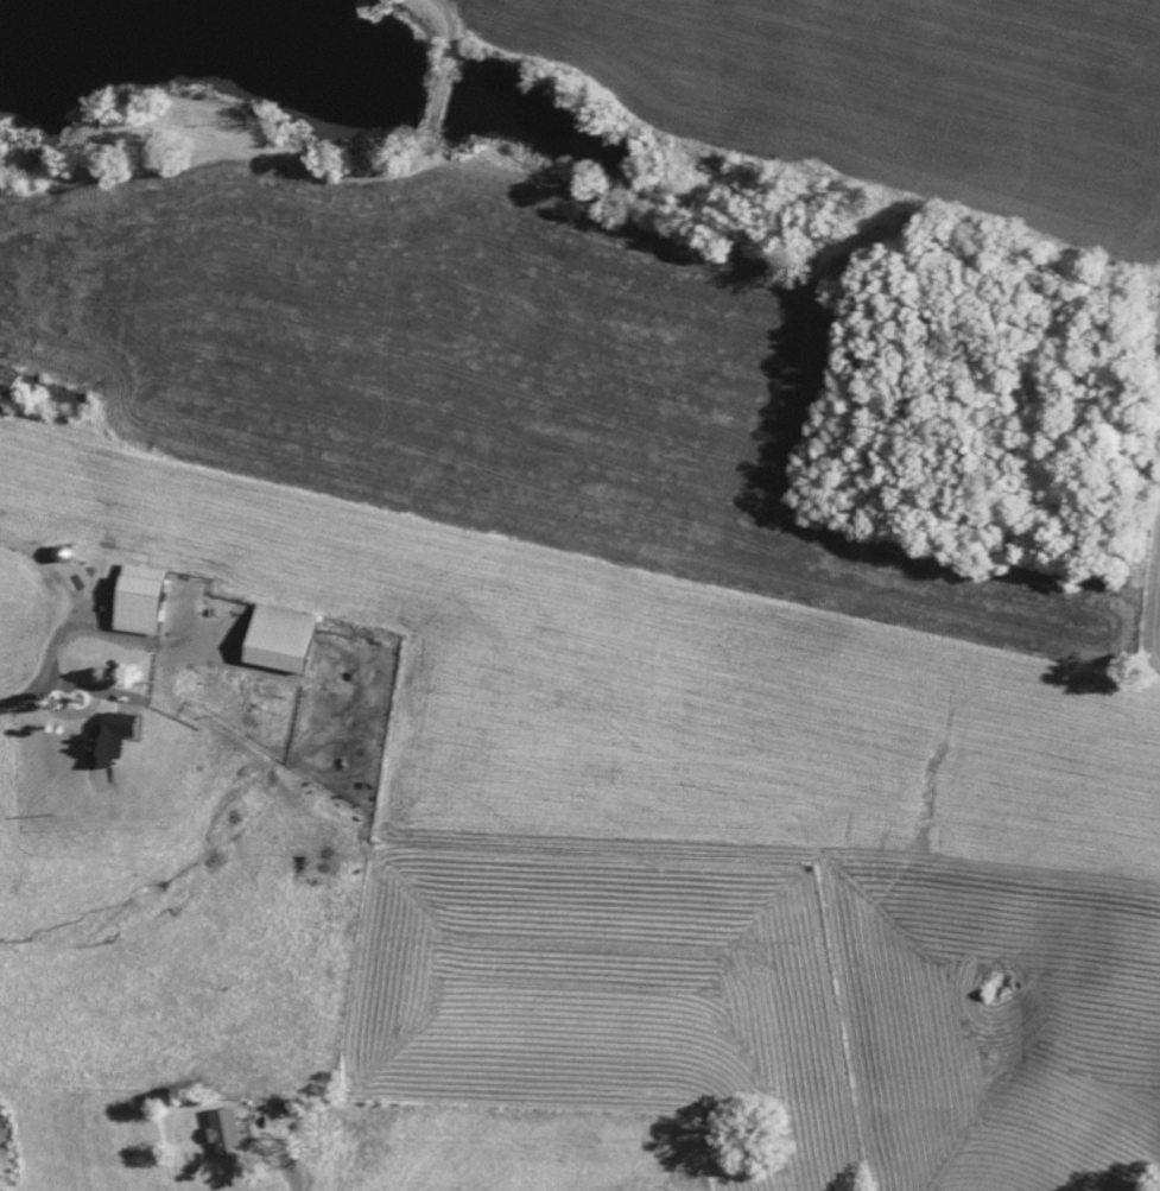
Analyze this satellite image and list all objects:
building: (152, 598)
building: (293, 639)
road: (57, 642)
road: (89, 688)
building: (119, 739)
building: (233, 1133)
road: (289, 1176)

